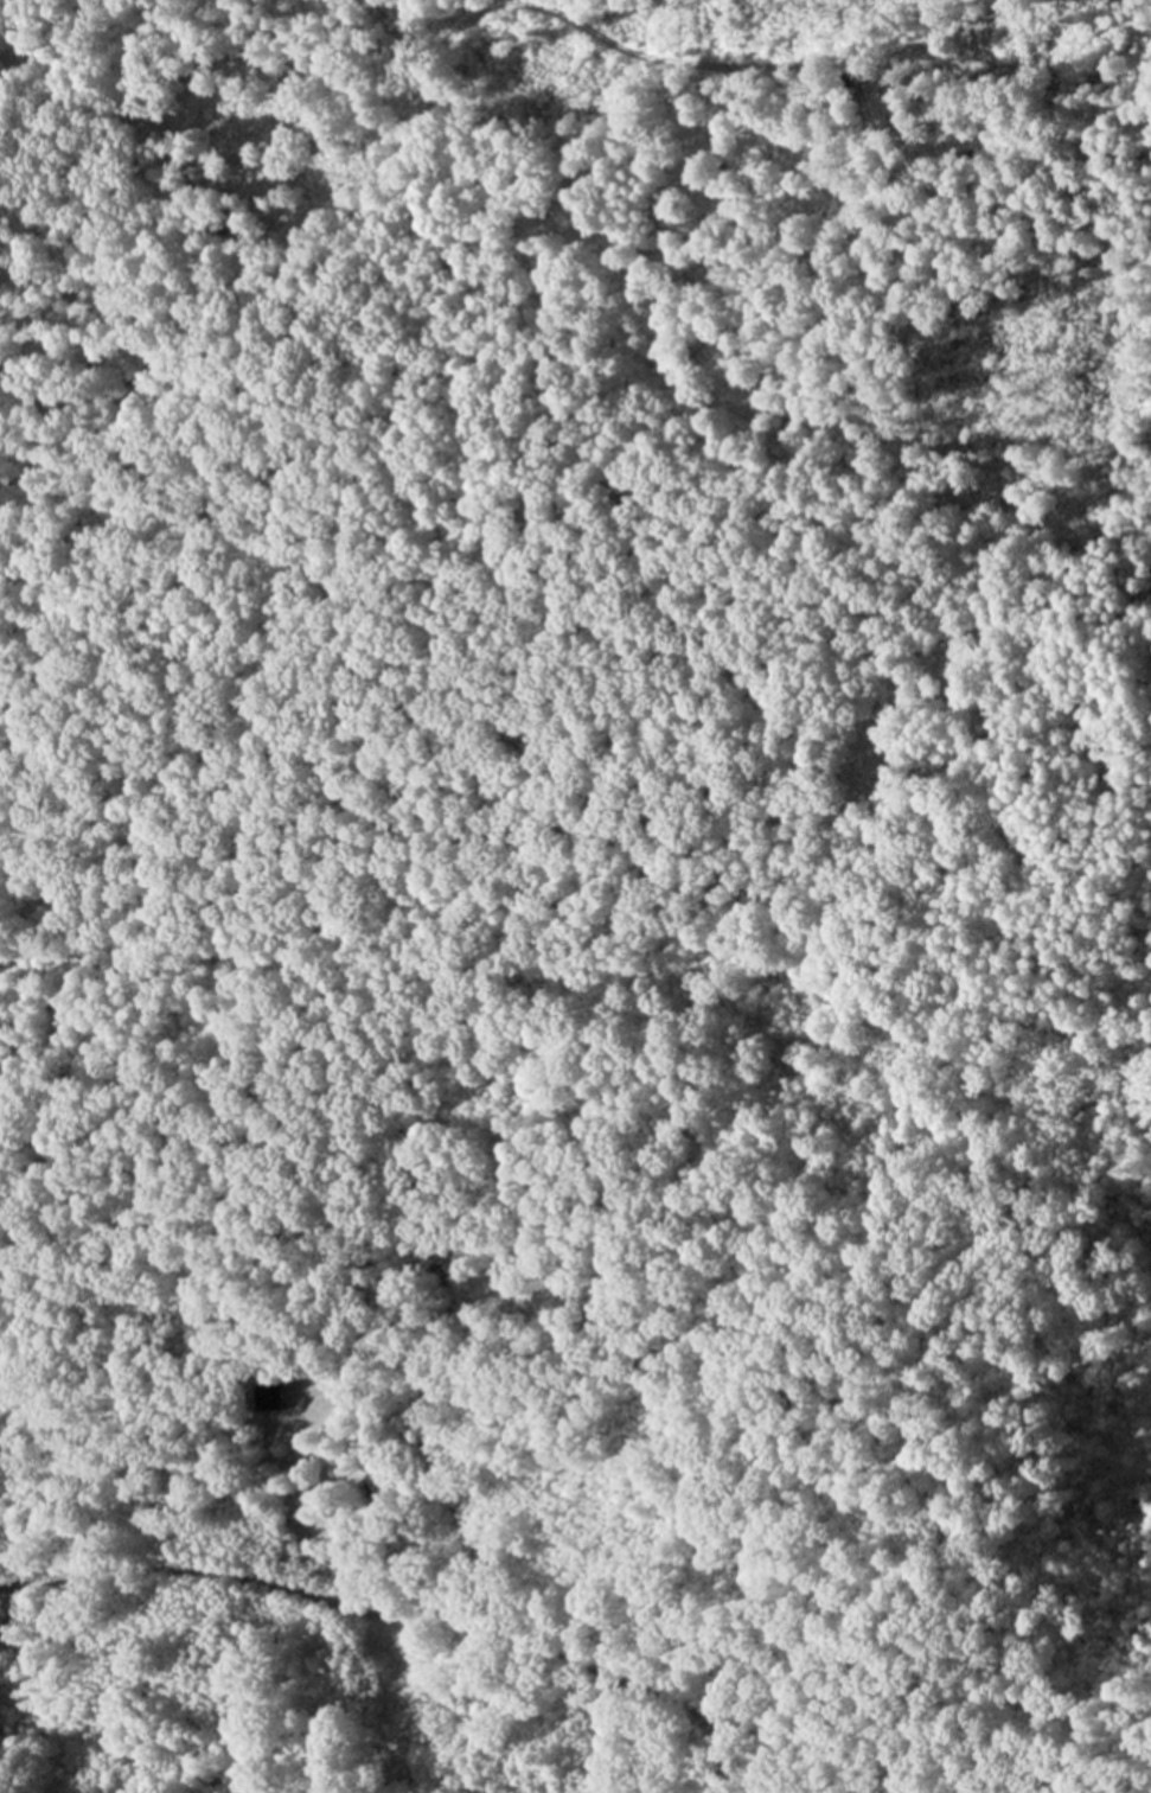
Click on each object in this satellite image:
building: (274, 1398)
road: (439, 1482)
road: (382, 1617)

